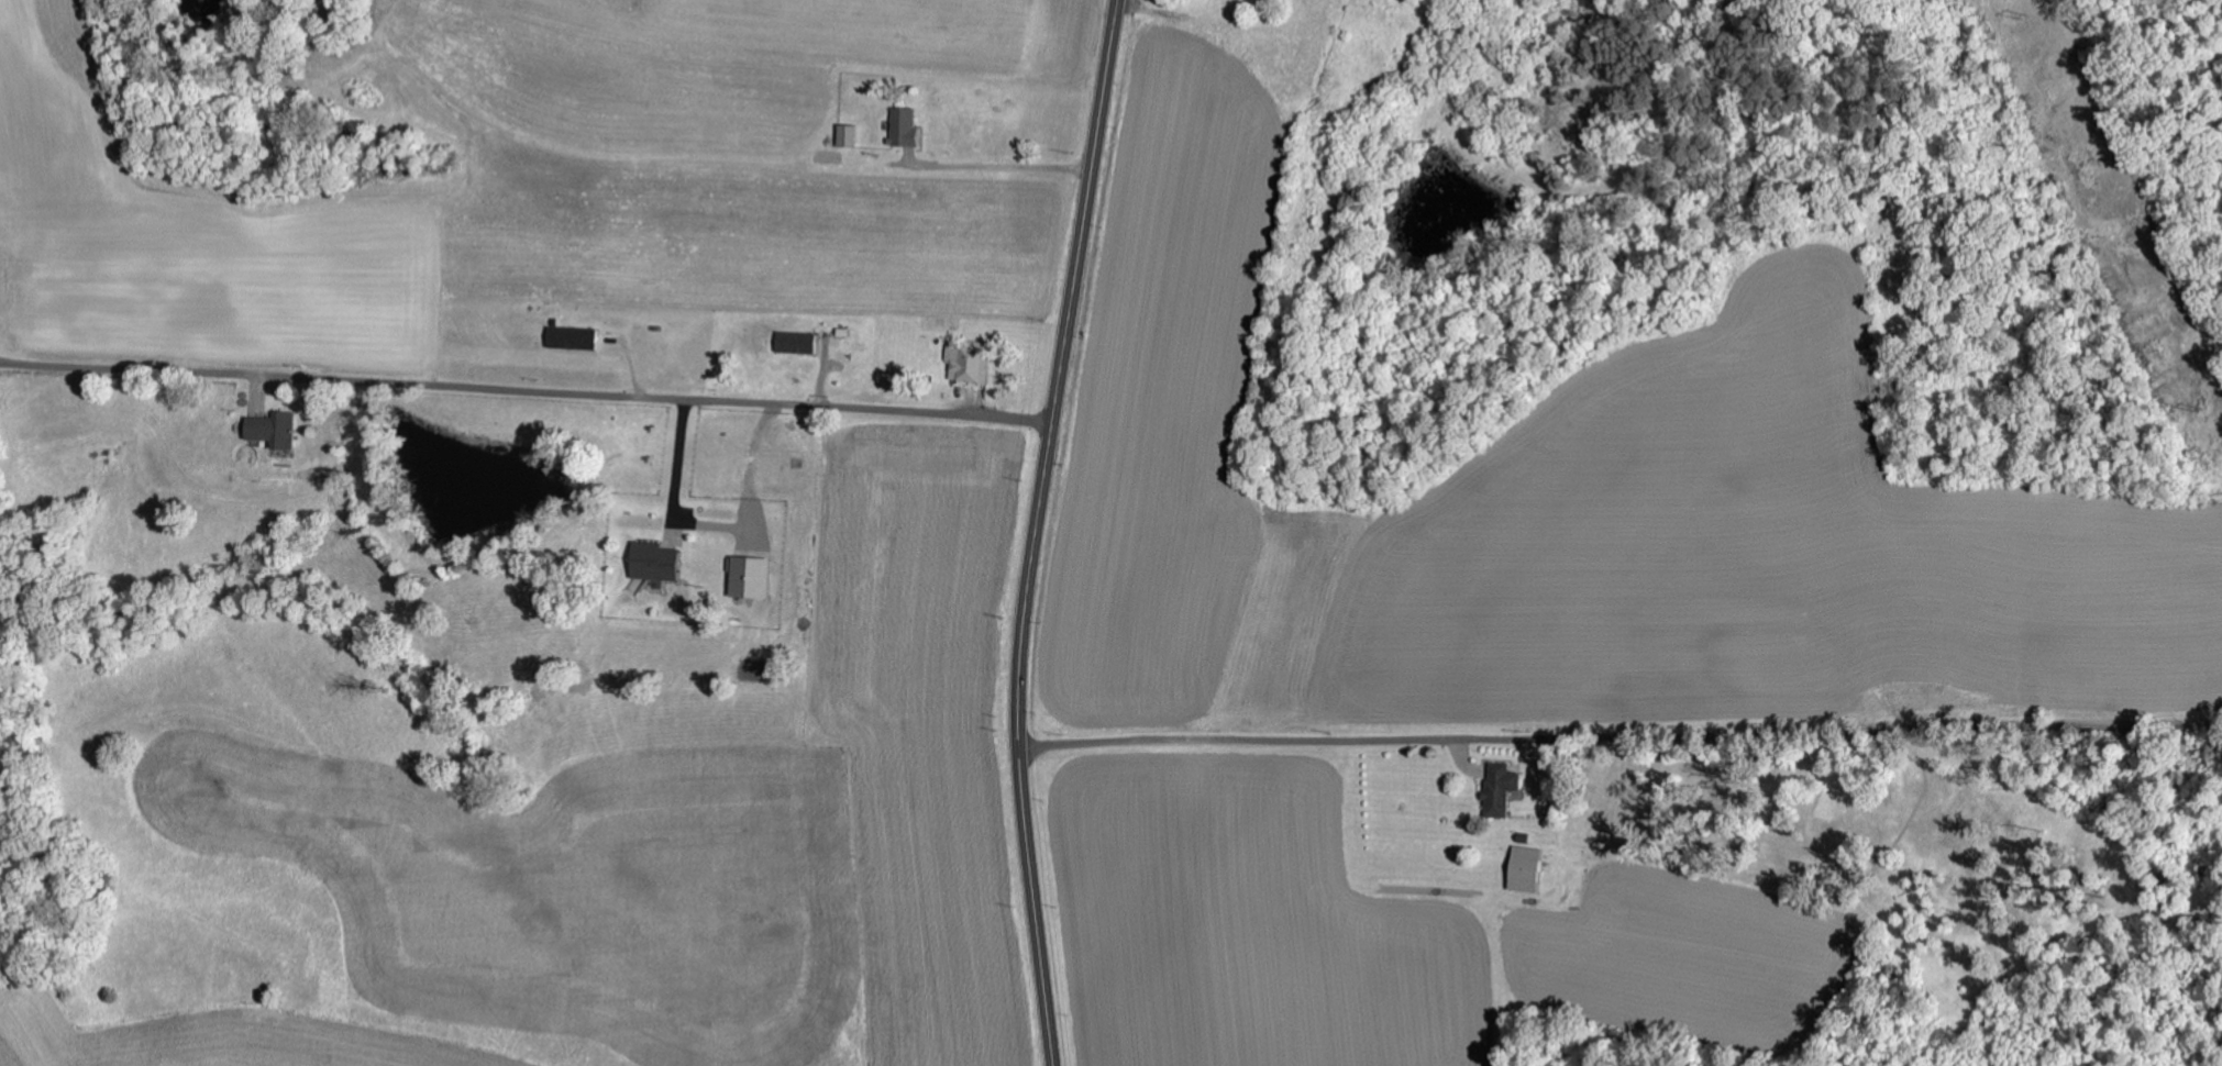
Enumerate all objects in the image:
building: (902, 126)
building: (844, 136)
building: (568, 338)
building: (793, 343)
building: (965, 363)
road: (526, 391)
building: (269, 430)
road: (1037, 531)
building: (651, 562)
building: (748, 578)
road: (1621, 741)
building: (1499, 789)
building: (1524, 868)

